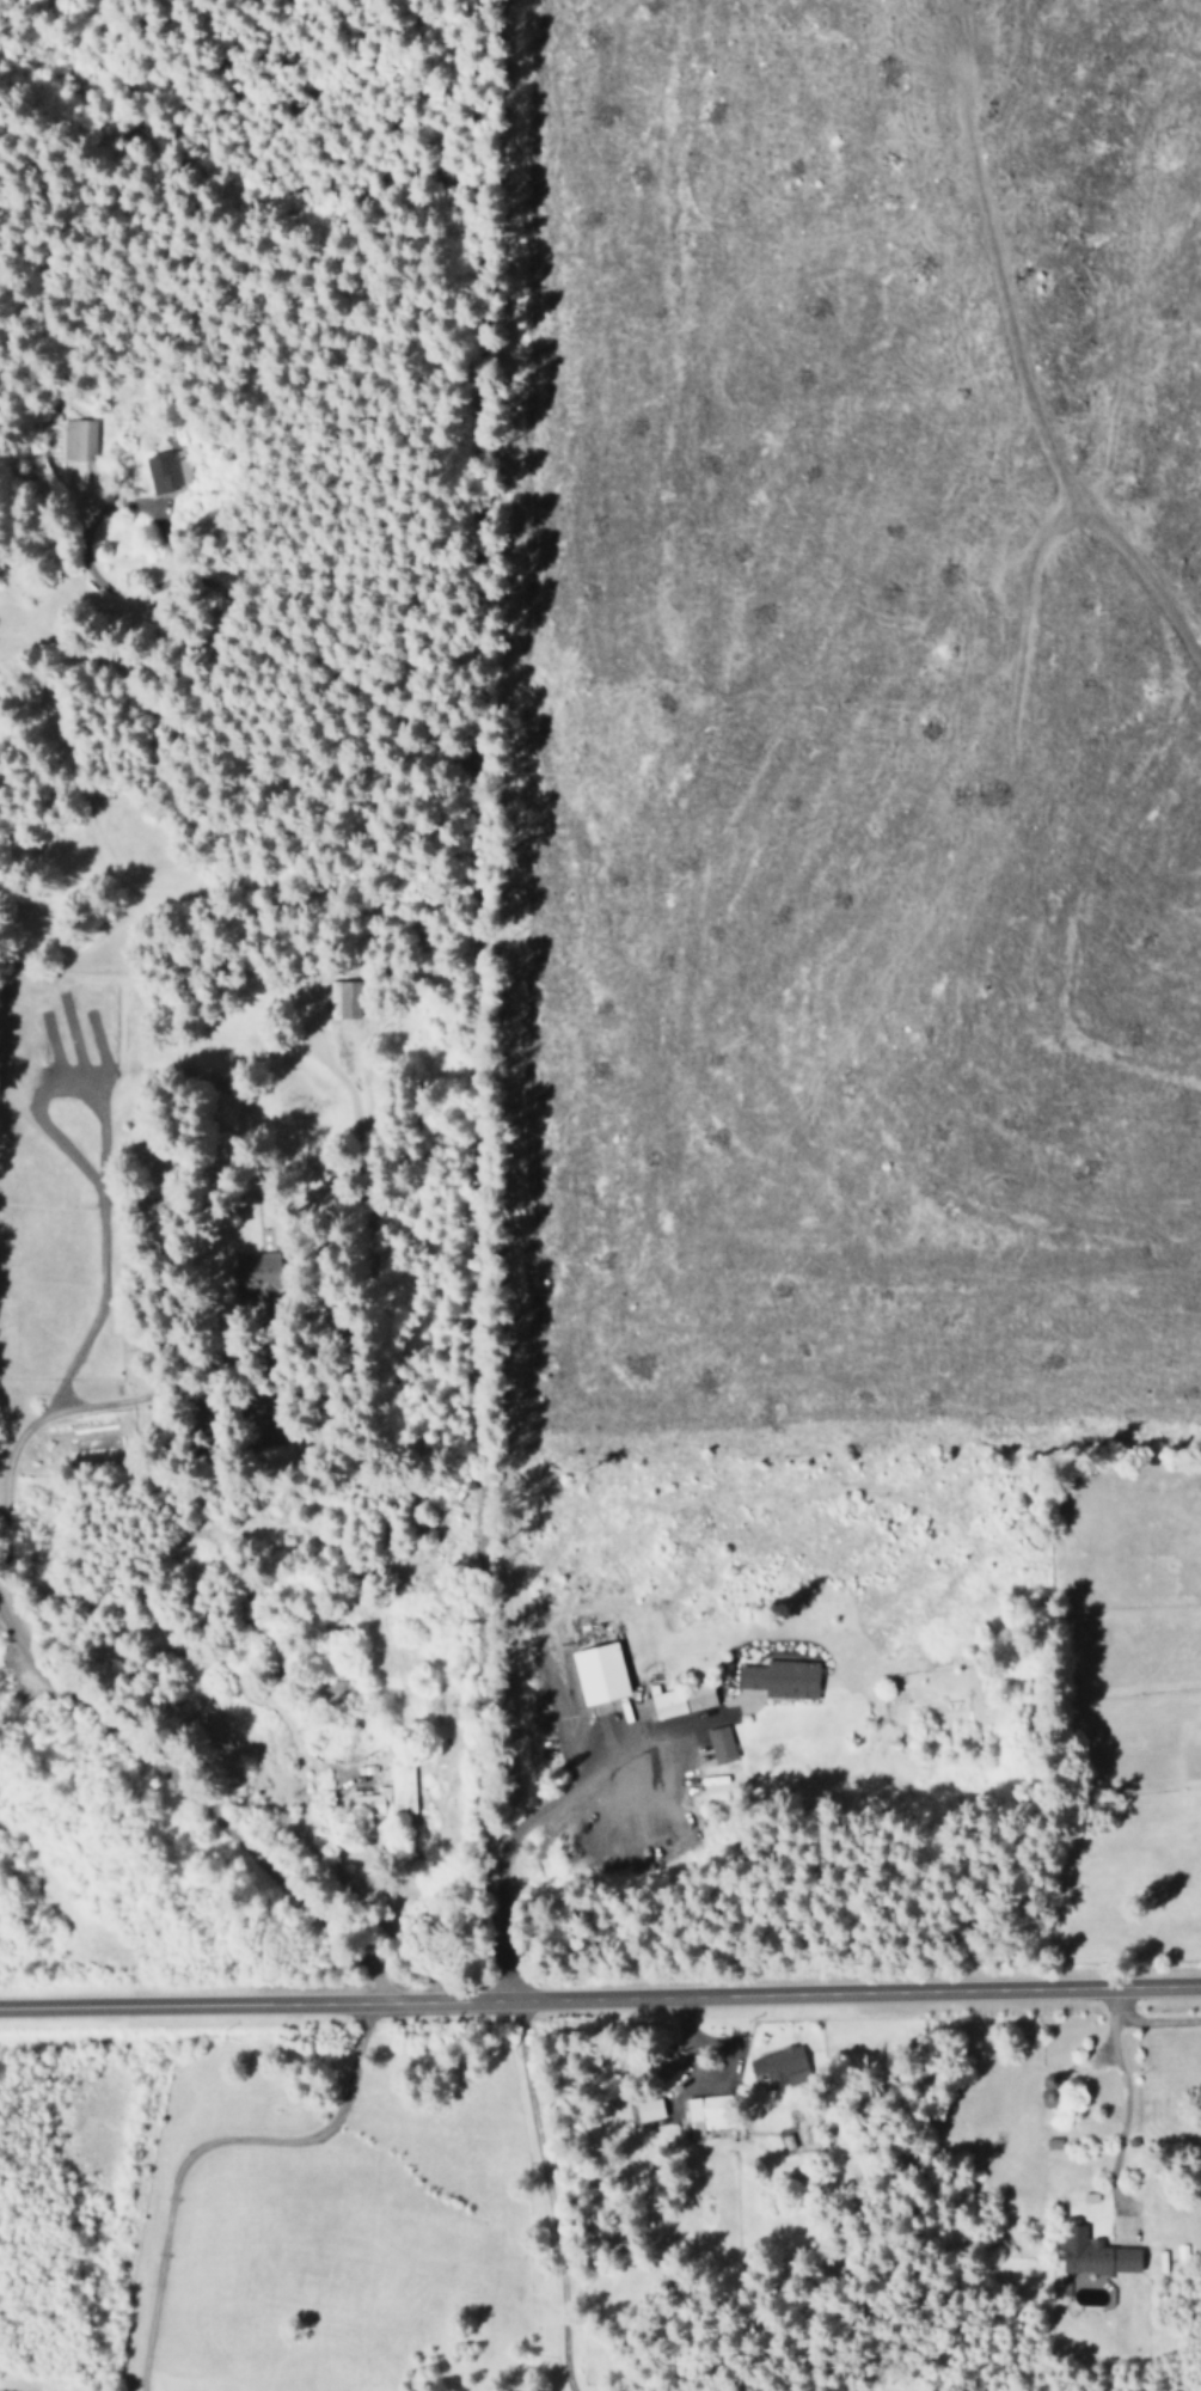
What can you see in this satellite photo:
building: (79, 439)
building: (167, 470)
road: (234, 604)
building: (344, 997)
road: (504, 1198)
building: (259, 1277)
road: (13, 1439)
road: (419, 1609)
building: (601, 1673)
building: (782, 1678)
building: (681, 1699)
road: (295, 1737)
road: (569, 1739)
building: (721, 1743)
building: (402, 1785)
road: (207, 1802)
building: (372, 1802)
road: (600, 2004)
road: (1150, 2022)
building: (779, 2068)
road: (1125, 2103)
building: (649, 2109)
building: (709, 2111)
building: (1092, 2251)

